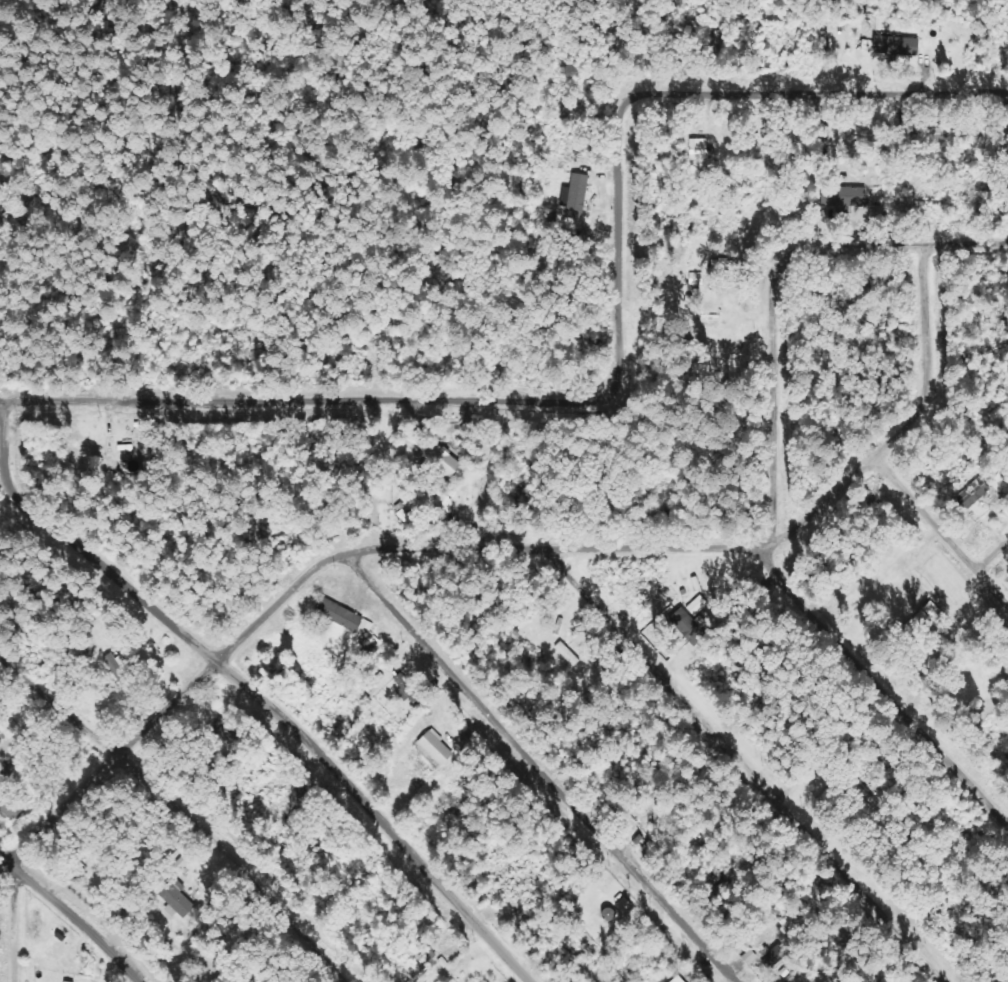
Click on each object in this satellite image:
building: (897, 46)
building: (698, 147)
building: (844, 193)
building: (577, 196)
road: (894, 245)
road: (621, 365)
road: (773, 397)
building: (440, 459)
building: (973, 494)
road: (940, 534)
road: (514, 551)
road: (993, 559)
building: (698, 606)
building: (685, 625)
building: (404, 686)
road: (882, 689)
road: (248, 694)
building: (436, 748)
road: (544, 768)
road: (740, 768)
road: (177, 817)
road: (68, 919)
road: (7, 922)
building: (677, 979)
building: (65, 981)

